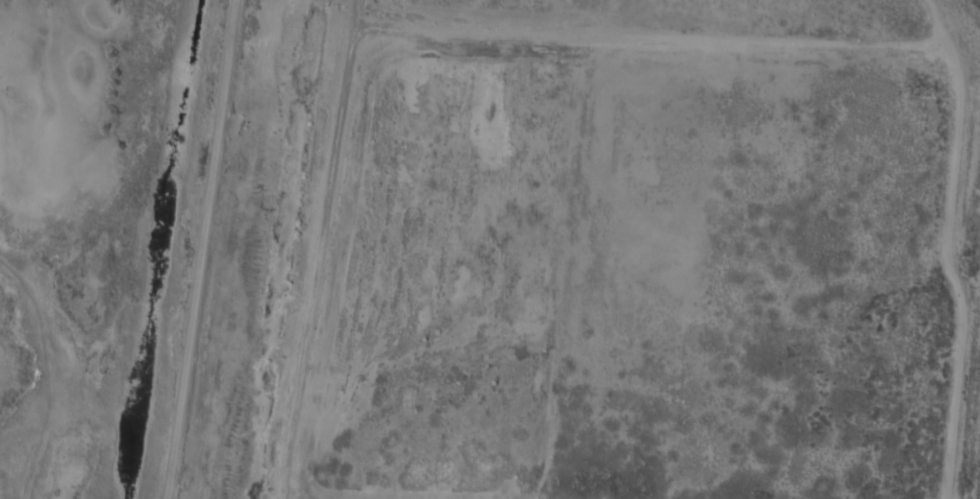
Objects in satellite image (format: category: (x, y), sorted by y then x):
road: (203, 249)

